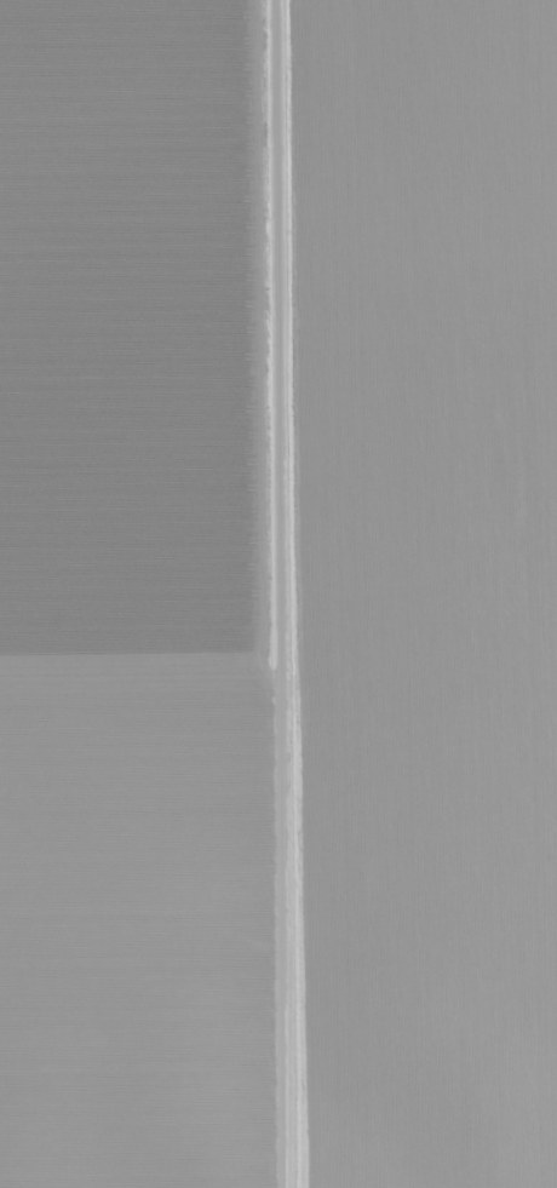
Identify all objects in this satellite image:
road: (291, 593)

